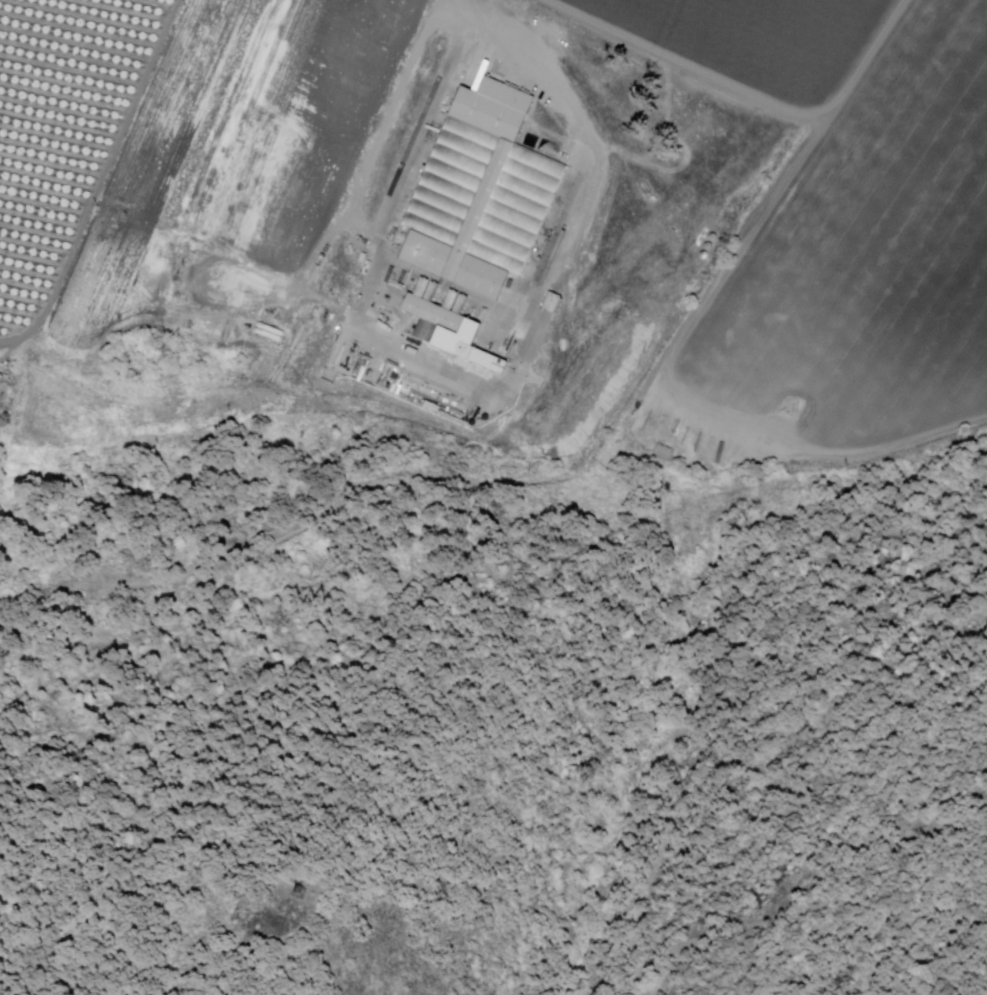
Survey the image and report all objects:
crop: (761, 35)
road: (748, 82)
road: (391, 122)
building: (481, 192)
storage tank: (715, 237)
storage tank: (710, 246)
crop: (875, 258)
building: (451, 332)
road: (807, 881)
power tower: (297, 901)

